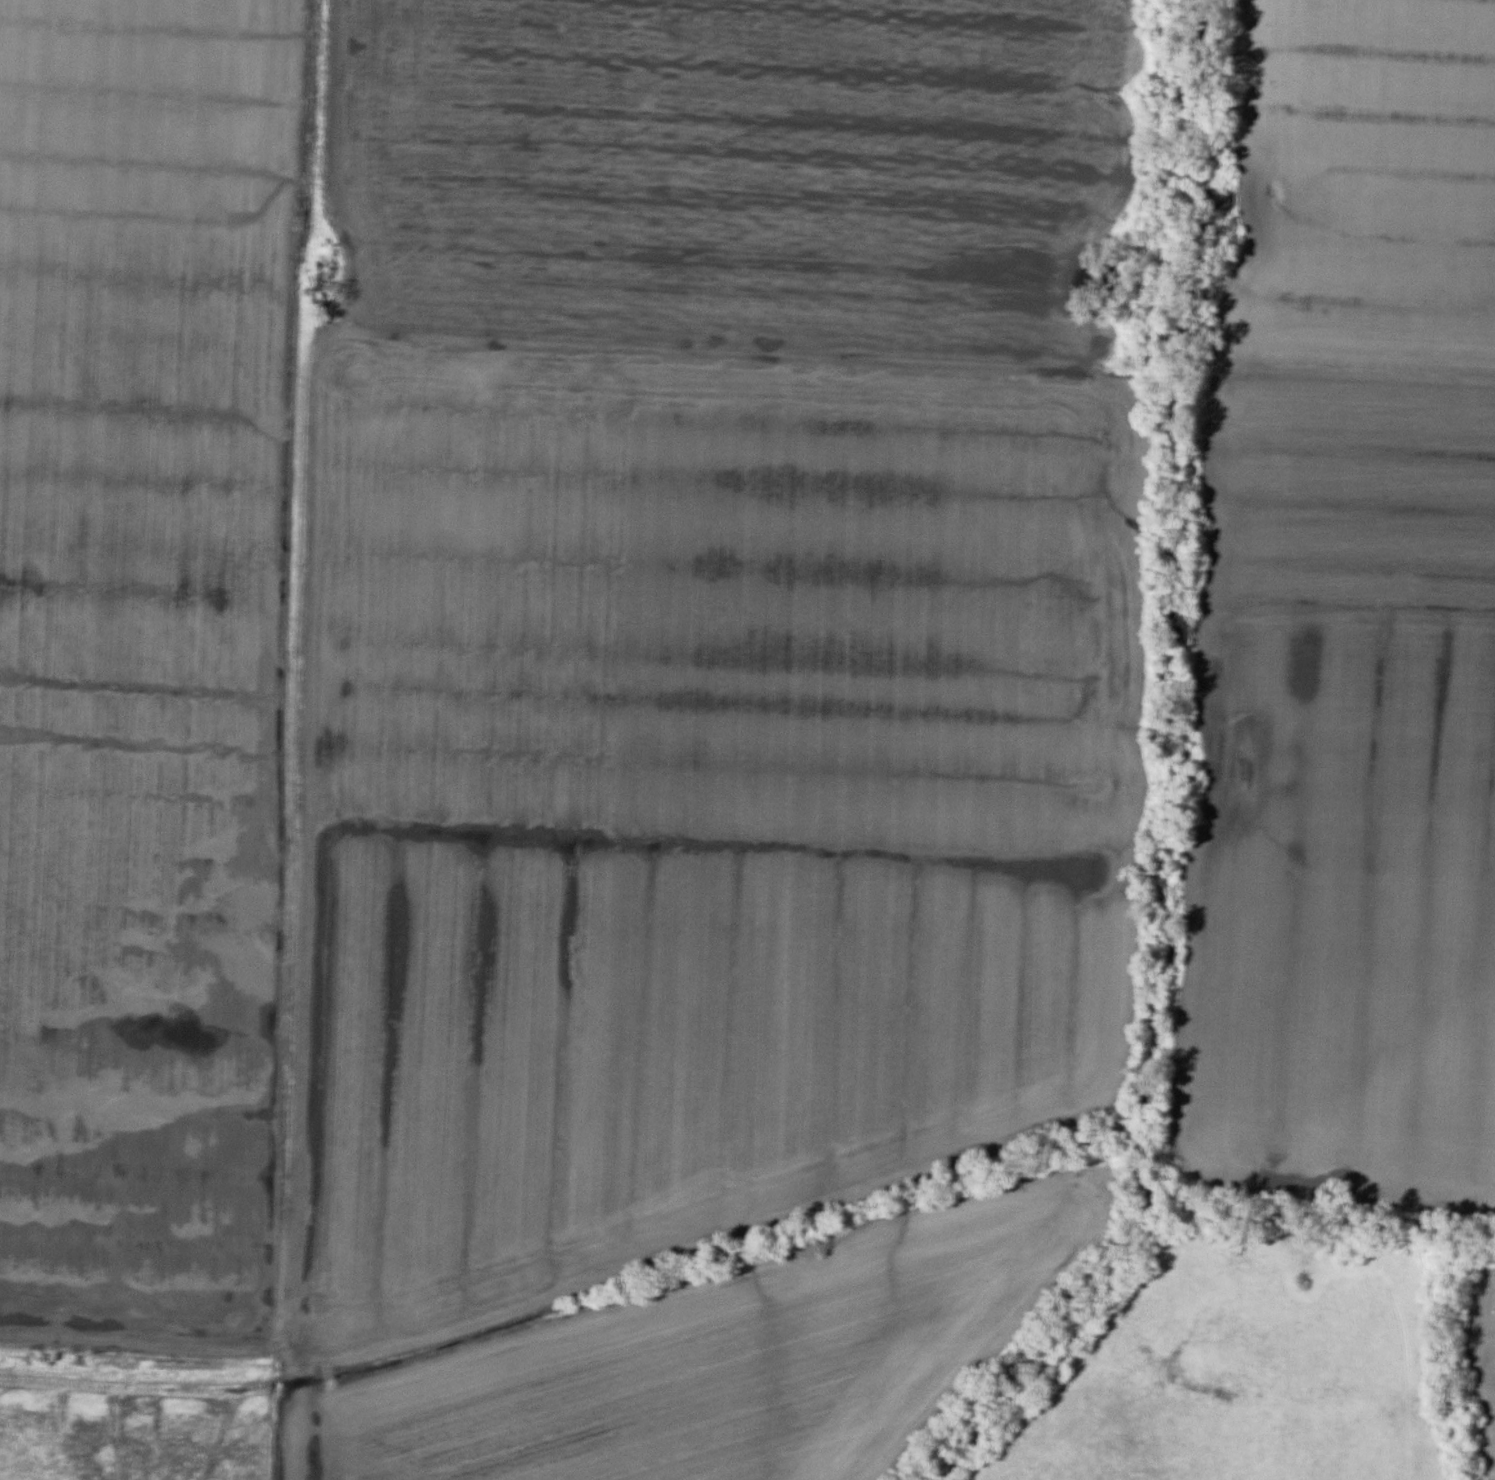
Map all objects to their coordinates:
crop: (749, 176)
crop: (1343, 624)
crop: (142, 657)
crop: (681, 806)
crop: (715, 1348)

